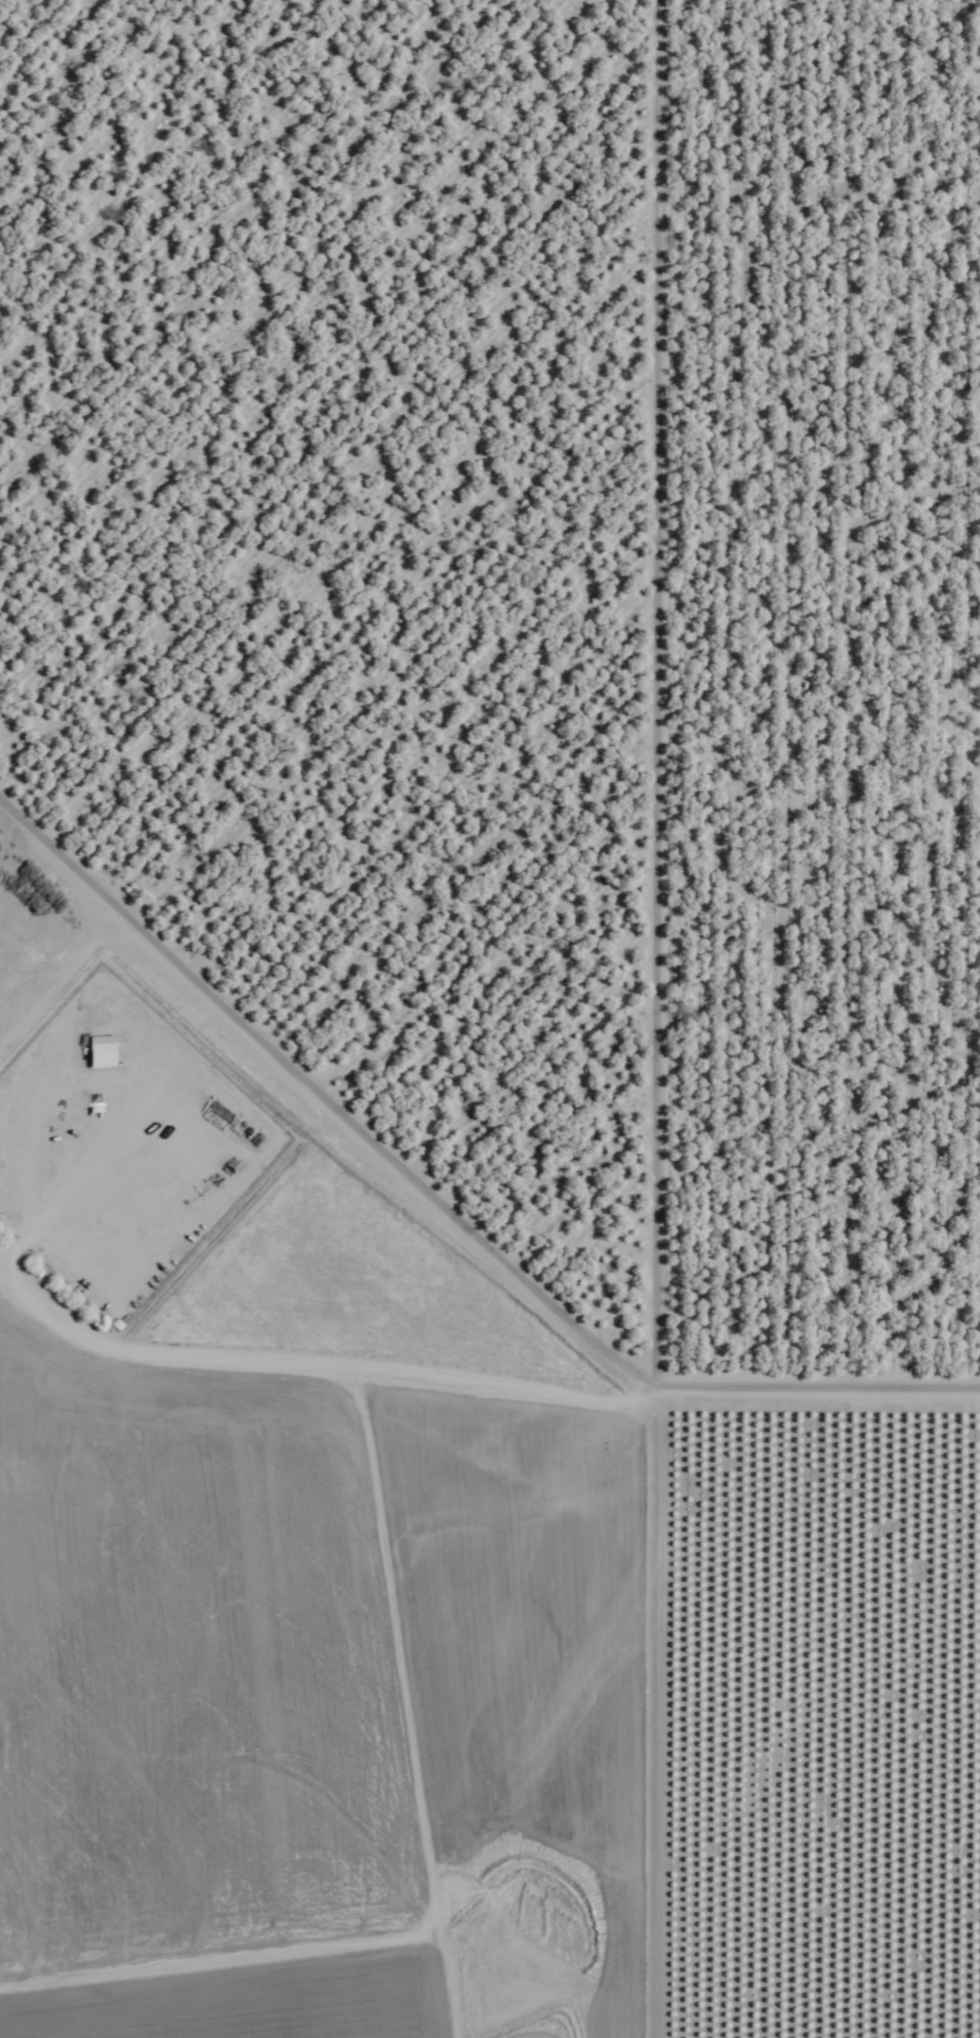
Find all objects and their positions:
building: (103, 1050)
crop: (835, 1857)
crop: (55, 2013)

